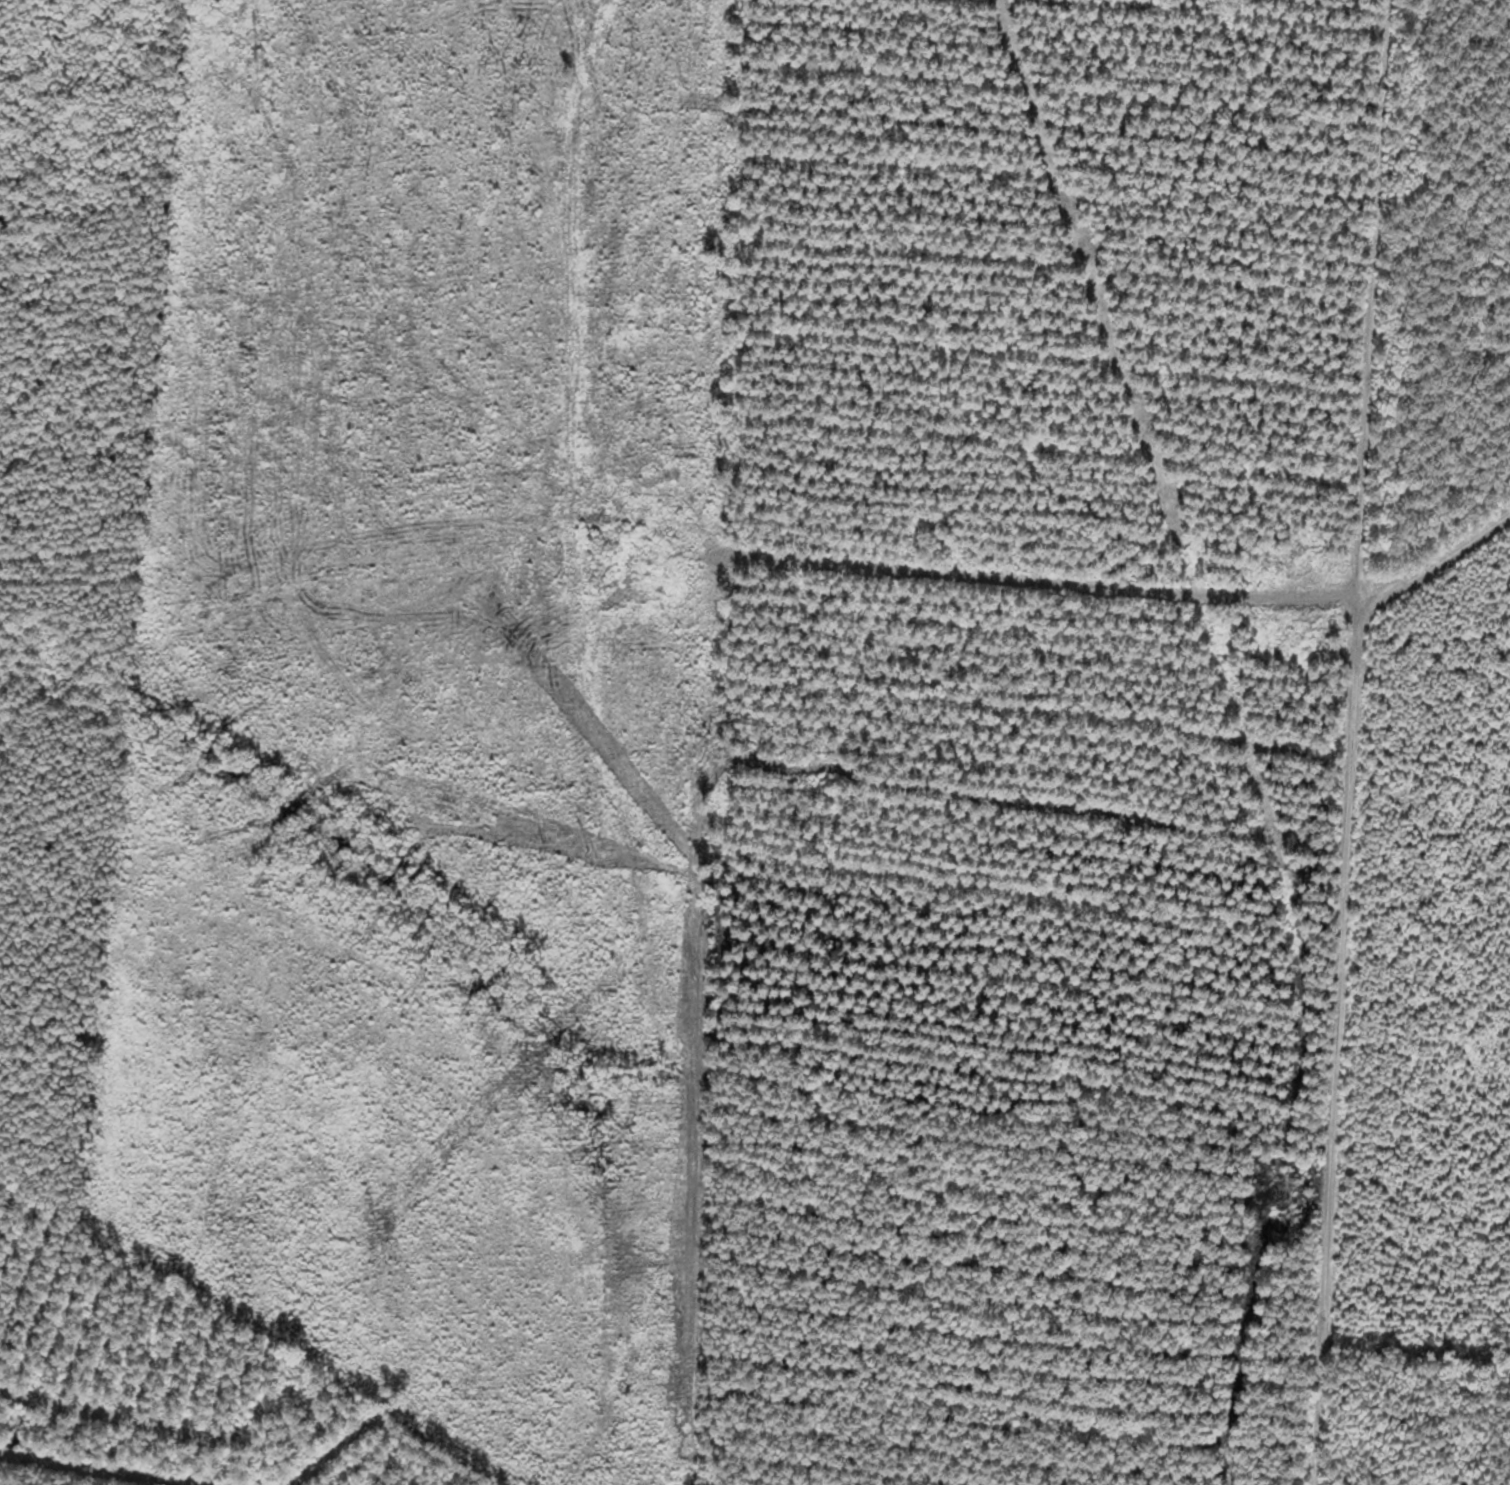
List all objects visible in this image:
road: (1344, 959)
road: (46, 1475)

